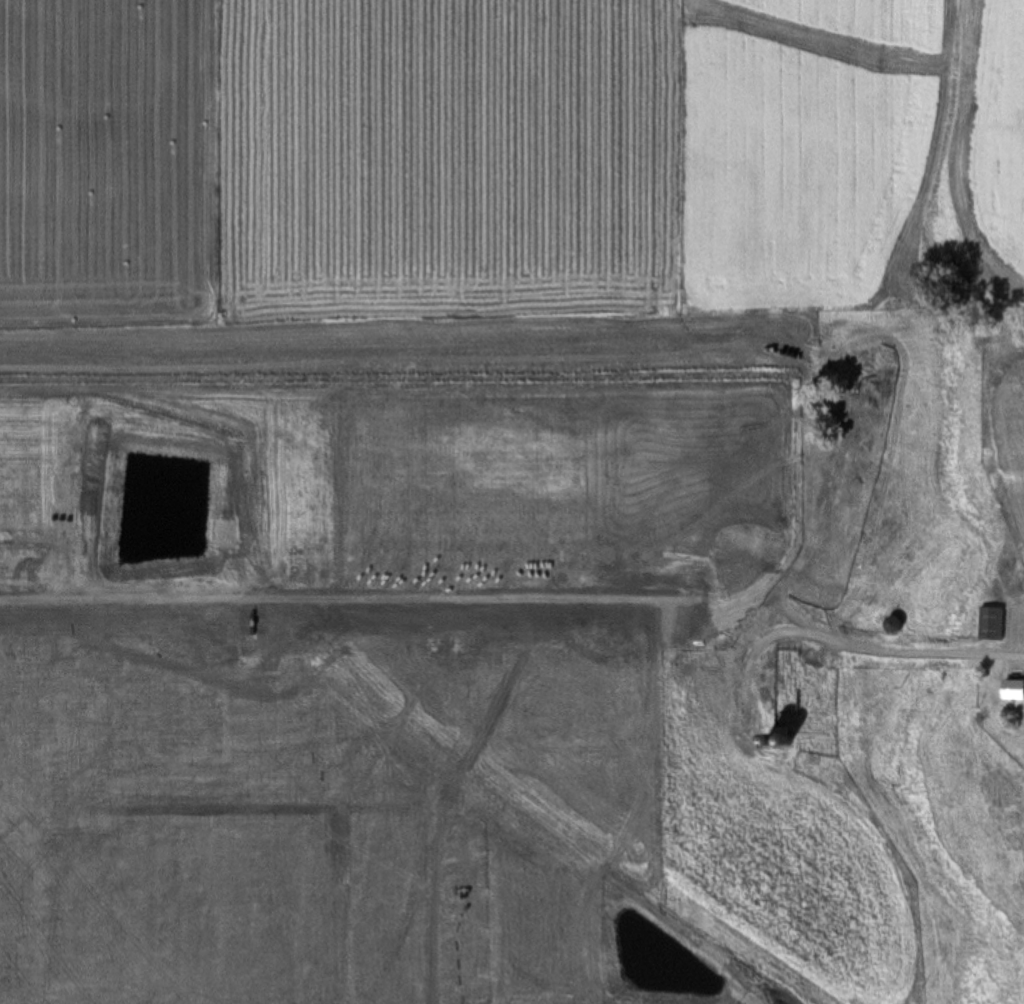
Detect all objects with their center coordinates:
building: (992, 625)
road: (1000, 658)
building: (1008, 691)
building: (783, 711)

